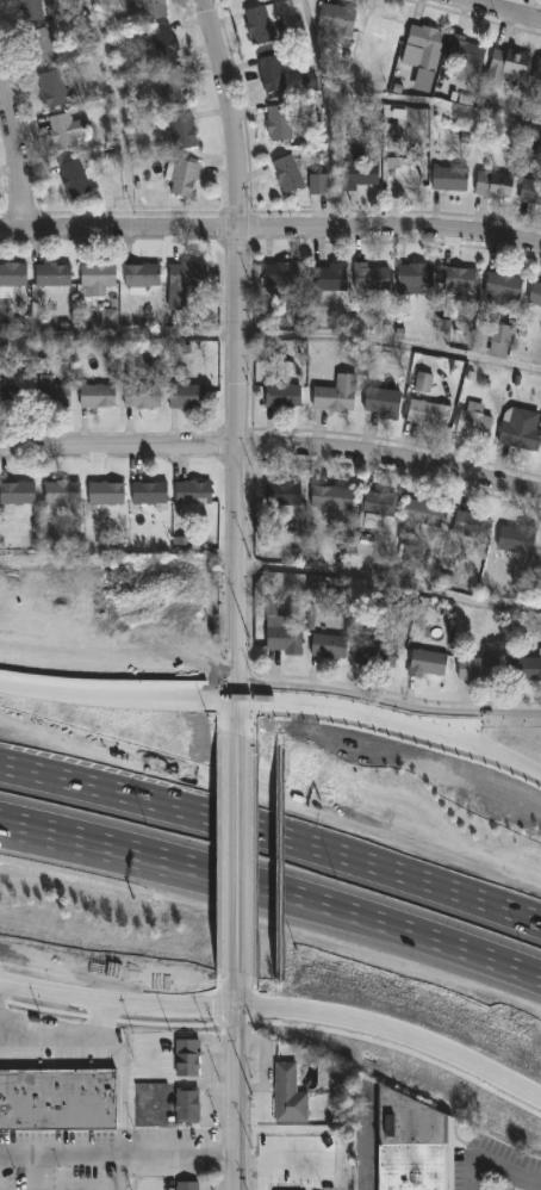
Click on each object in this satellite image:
building: (154, 8)
building: (31, 10)
road: (499, 11)
building: (338, 18)
building: (262, 23)
building: (384, 27)
building: (162, 43)
building: (43, 45)
building: (425, 47)
building: (467, 51)
building: (506, 64)
building: (539, 69)
building: (273, 73)
building: (176, 86)
building: (52, 87)
road: (229, 111)
building: (280, 122)
building: (67, 128)
building: (184, 129)
road: (17, 157)
building: (360, 171)
building: (287, 173)
building: (184, 175)
building: (406, 176)
building: (75, 178)
building: (452, 178)
building: (496, 182)
building: (318, 184)
building: (531, 191)
road: (270, 227)
building: (55, 273)
building: (286, 273)
building: (462, 275)
building: (143, 277)
building: (331, 277)
building: (372, 277)
building: (416, 277)
building: (12, 278)
building: (98, 278)
building: (189, 281)
building: (504, 286)
building: (536, 293)
building: (108, 318)
building: (503, 337)
road: (390, 342)
building: (423, 383)
building: (51, 393)
building: (282, 393)
building: (337, 395)
building: (10, 396)
building: (99, 396)
building: (143, 396)
building: (188, 397)
building: (385, 402)
building: (430, 413)
building: (475, 421)
building: (522, 430)
road: (272, 446)
road: (237, 481)
building: (63, 491)
building: (150, 491)
building: (194, 491)
building: (19, 492)
building: (107, 492)
building: (286, 492)
building: (334, 496)
building: (380, 503)
building: (425, 514)
building: (472, 528)
building: (517, 540)
road: (390, 577)
building: (390, 603)
building: (346, 607)
building: (284, 633)
building: (330, 643)
building: (540, 651)
building: (377, 653)
building: (428, 663)
building: (480, 668)
building: (526, 669)
road: (117, 700)
road: (329, 707)
road: (481, 725)
road: (483, 750)
road: (275, 798)
road: (273, 833)
road: (93, 842)
road: (93, 850)
road: (237, 855)
road: (365, 917)
road: (278, 1014)
road: (63, 1034)
building: (188, 1059)
road: (235, 1081)
road: (119, 1090)
building: (291, 1096)
building: (57, 1101)
building: (188, 1107)
building: (416, 1145)
road: (367, 1153)
road: (117, 1154)
road: (273, 1164)
road: (492, 1166)
road: (33, 1172)
road: (263, 1177)
parking lot: (27, 1178)
road: (87, 1185)
building: (188, 1185)
road: (249, 1188)
road: (162, 1189)

